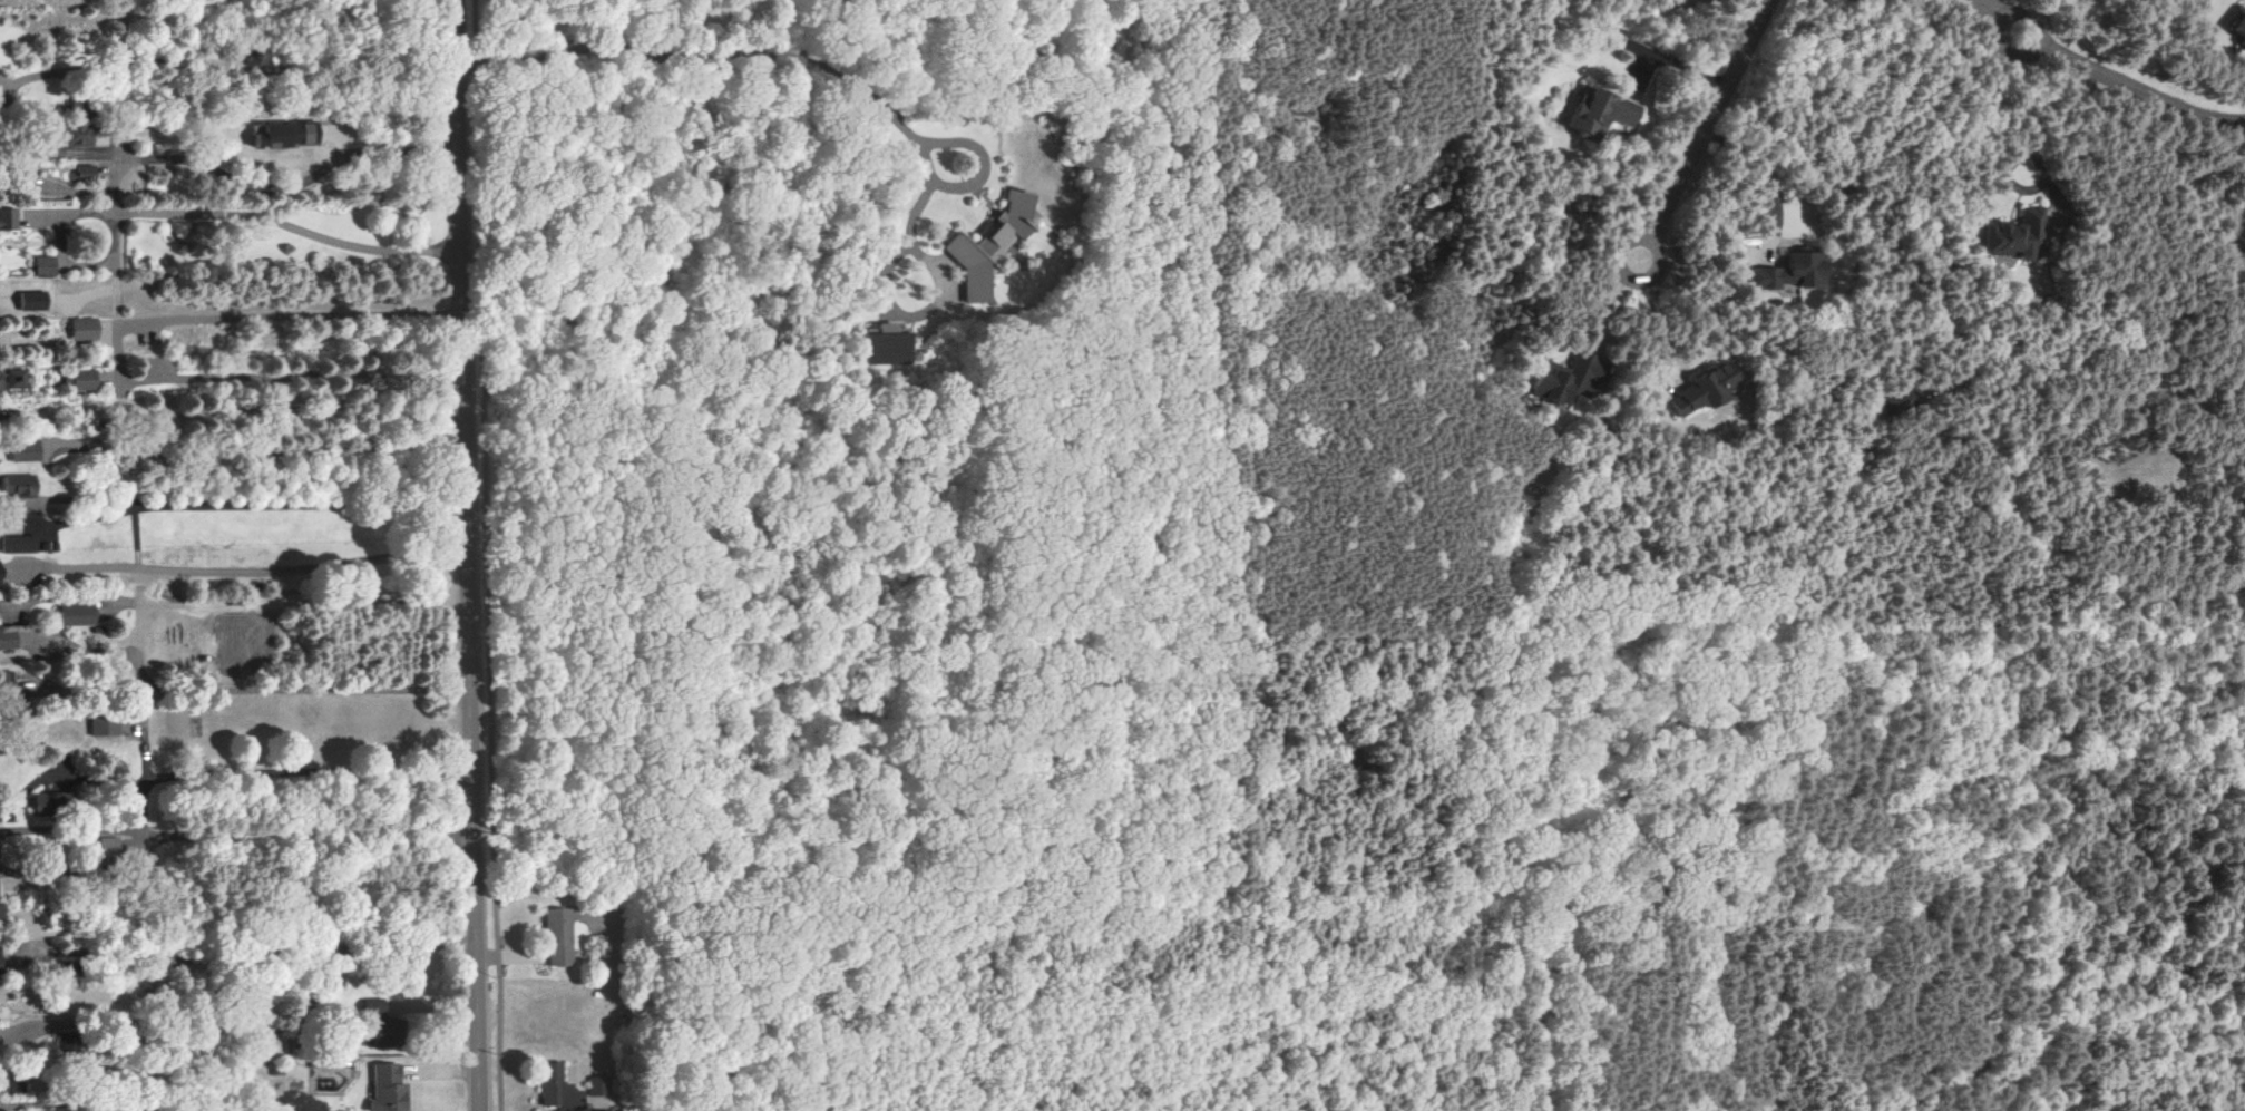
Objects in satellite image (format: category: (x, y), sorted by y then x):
road: (67, 21)
building: (2242, 36)
road: (792, 53)
road: (228, 67)
road: (2102, 87)
building: (1600, 114)
road: (1710, 118)
building: (286, 135)
building: (77, 136)
road: (60, 150)
road: (2023, 152)
road: (289, 154)
road: (1763, 170)
building: (82, 174)
road: (920, 207)
road: (290, 208)
road: (39, 217)
building: (8, 220)
building: (2021, 233)
road: (61, 241)
building: (992, 245)
building: (43, 266)
building: (1790, 271)
road: (1631, 281)
building: (32, 301)
road: (290, 316)
building: (84, 329)
building: (885, 344)
building: (79, 379)
building: (1564, 379)
building: (1700, 389)
road: (66, 410)
road: (297, 411)
building: (25, 451)
building: (19, 485)
road: (304, 505)
road: (36, 511)
building: (18, 544)
road: (141, 554)
road: (468, 555)
road: (489, 555)
road: (304, 558)
road: (77, 567)
building: (0, 572)
road: (71, 598)
road: (306, 601)
building: (78, 614)
building: (8, 640)
road: (72, 649)
road: (74, 691)
road: (310, 692)
road: (75, 711)
building: (104, 725)
road: (311, 774)
road: (80, 782)
building: (47, 802)
road: (75, 827)
road: (313, 835)
building: (109, 846)
road: (75, 869)
building: (559, 936)
road: (80, 952)
road: (316, 955)
building: (0, 962)
road: (85, 967)
building: (377, 1008)
road: (20, 1044)
building: (389, 1089)
building: (560, 1089)
road: (78, 1104)

